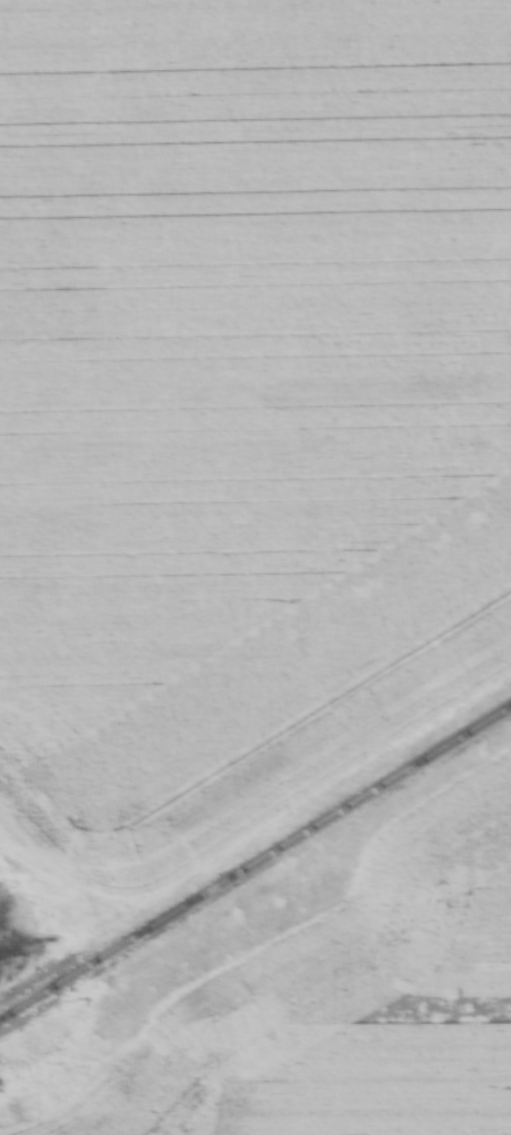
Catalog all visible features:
railway: (255, 868)

